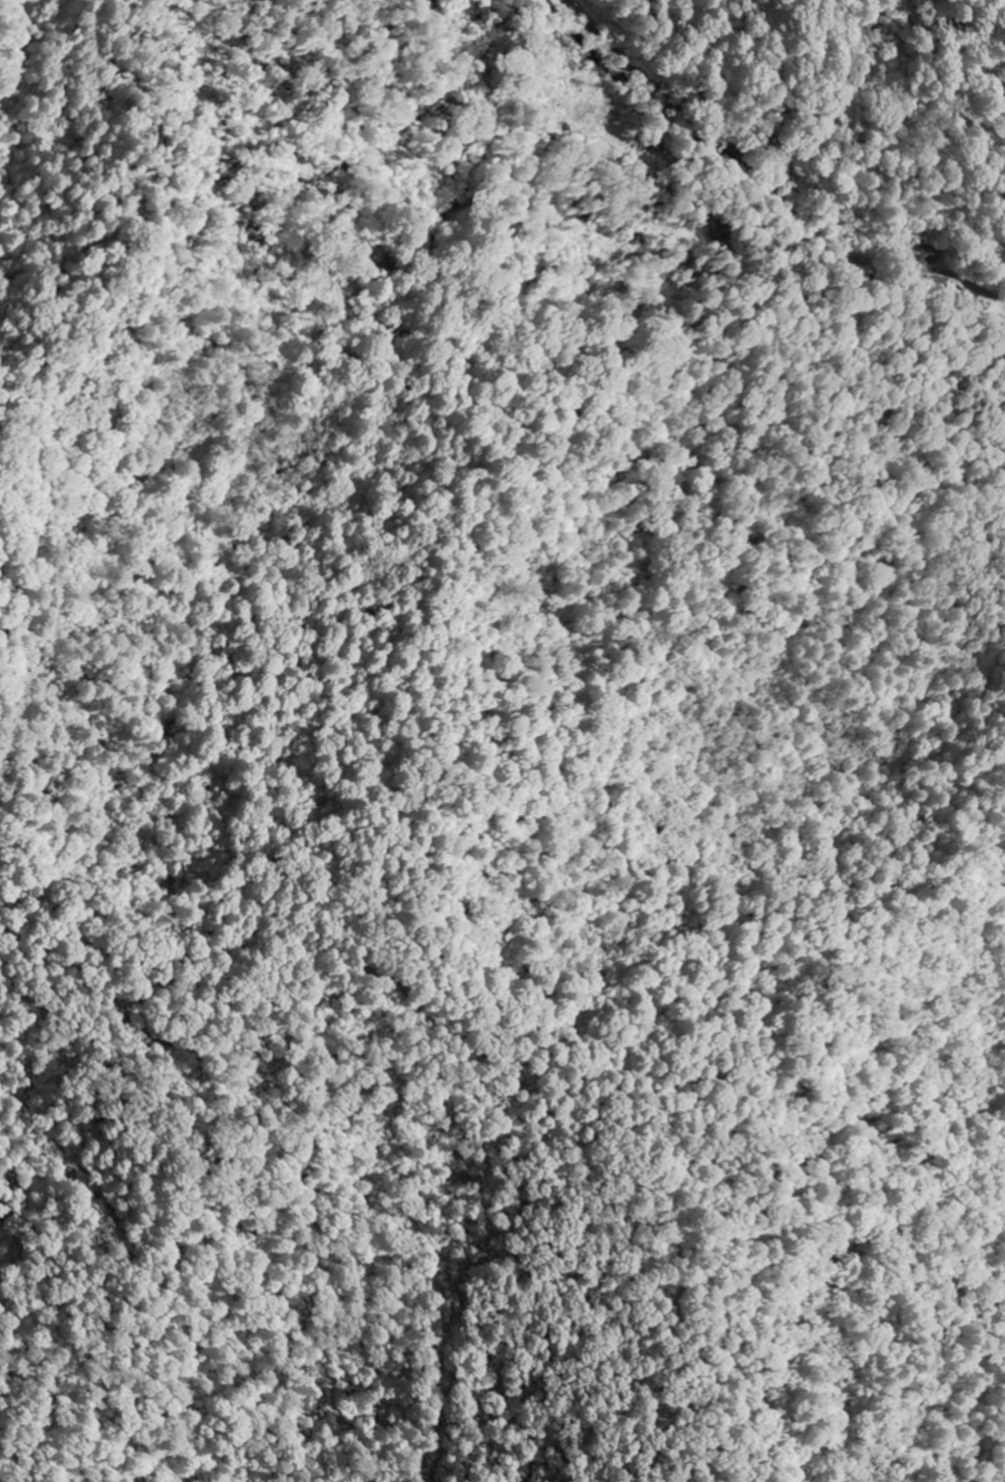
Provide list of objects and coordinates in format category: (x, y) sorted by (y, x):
road: (769, 162)

